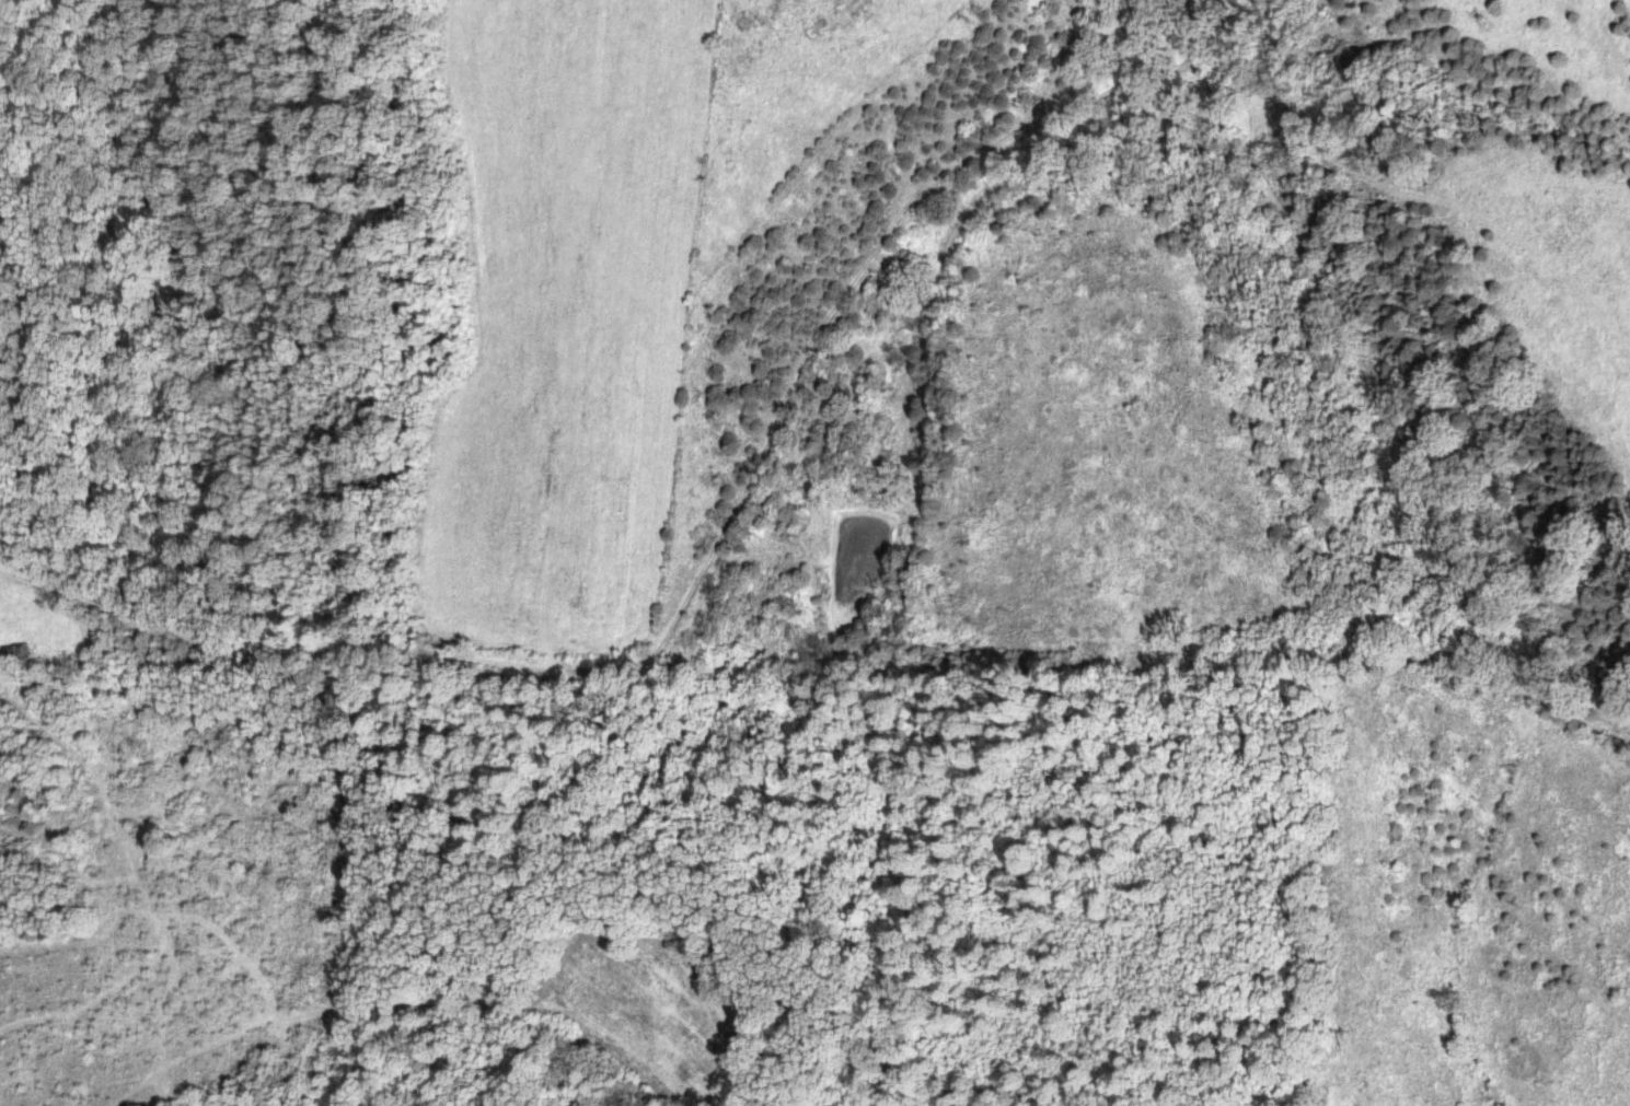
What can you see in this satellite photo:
road: (1359, 345)

